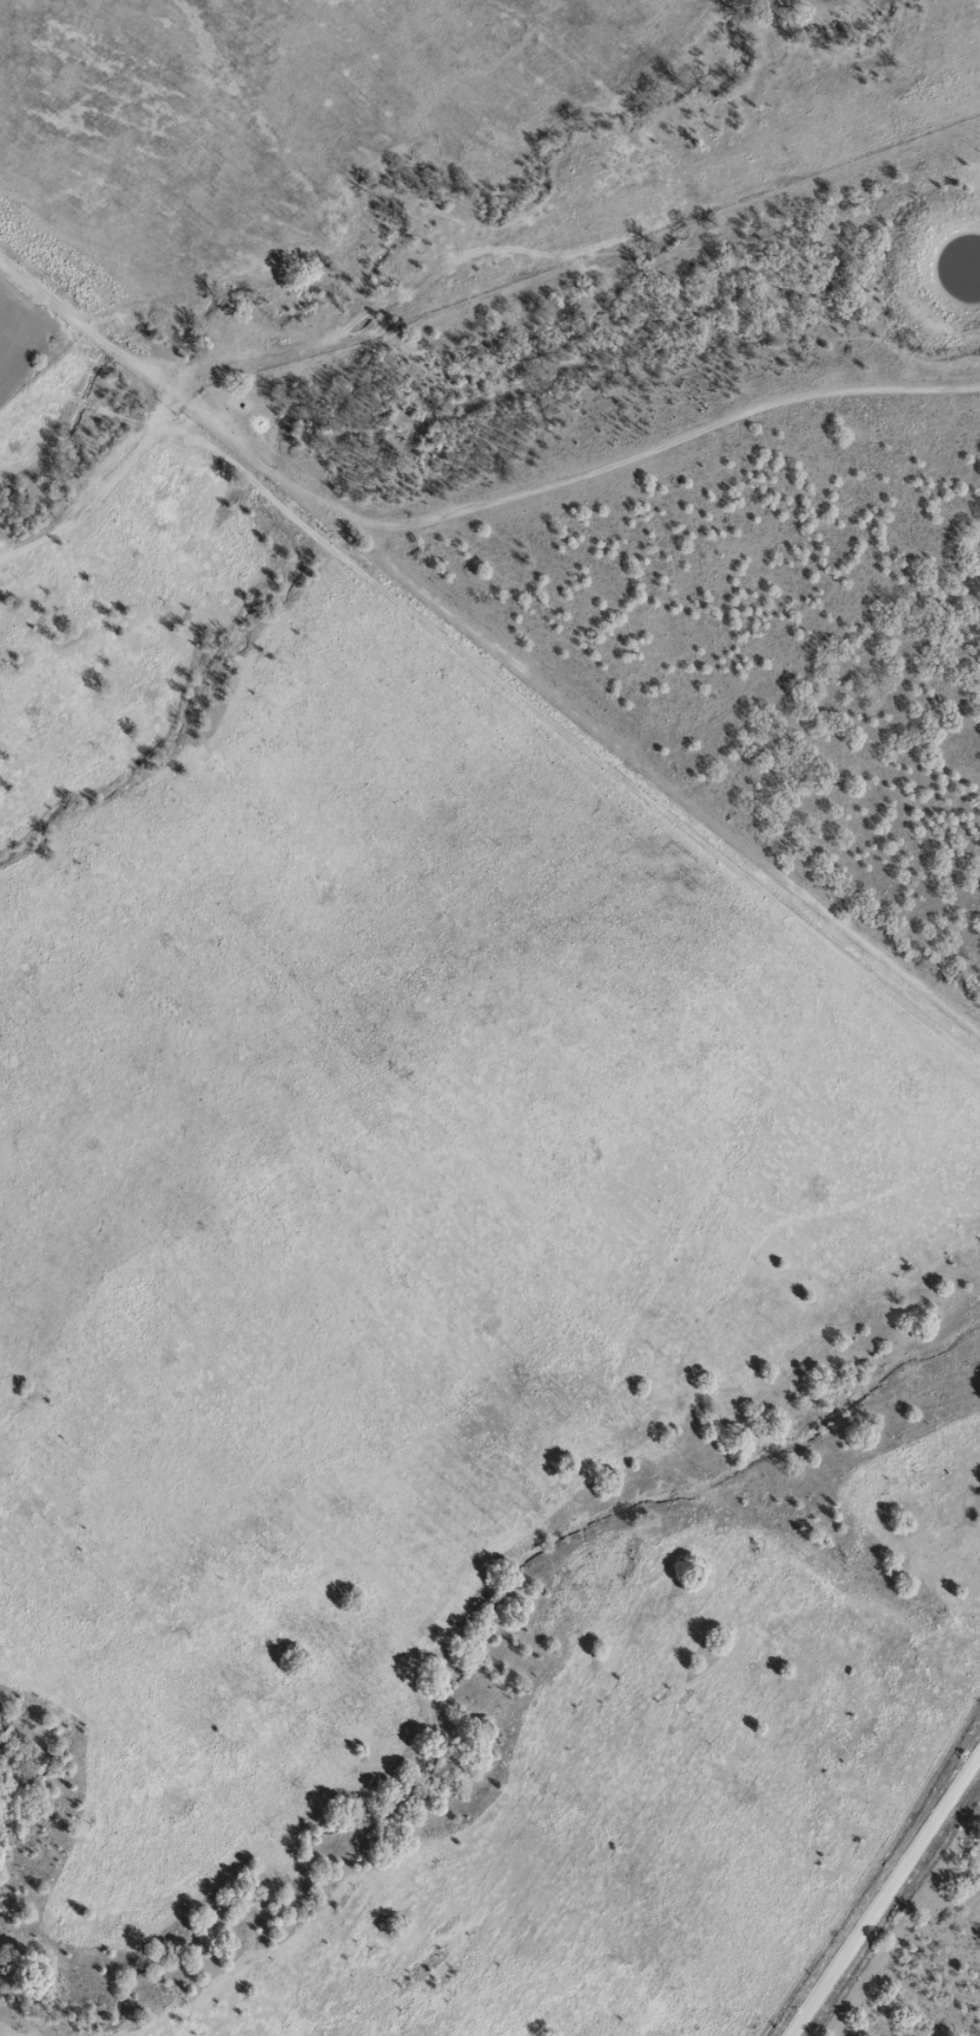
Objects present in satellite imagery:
road: (886, 1898)

